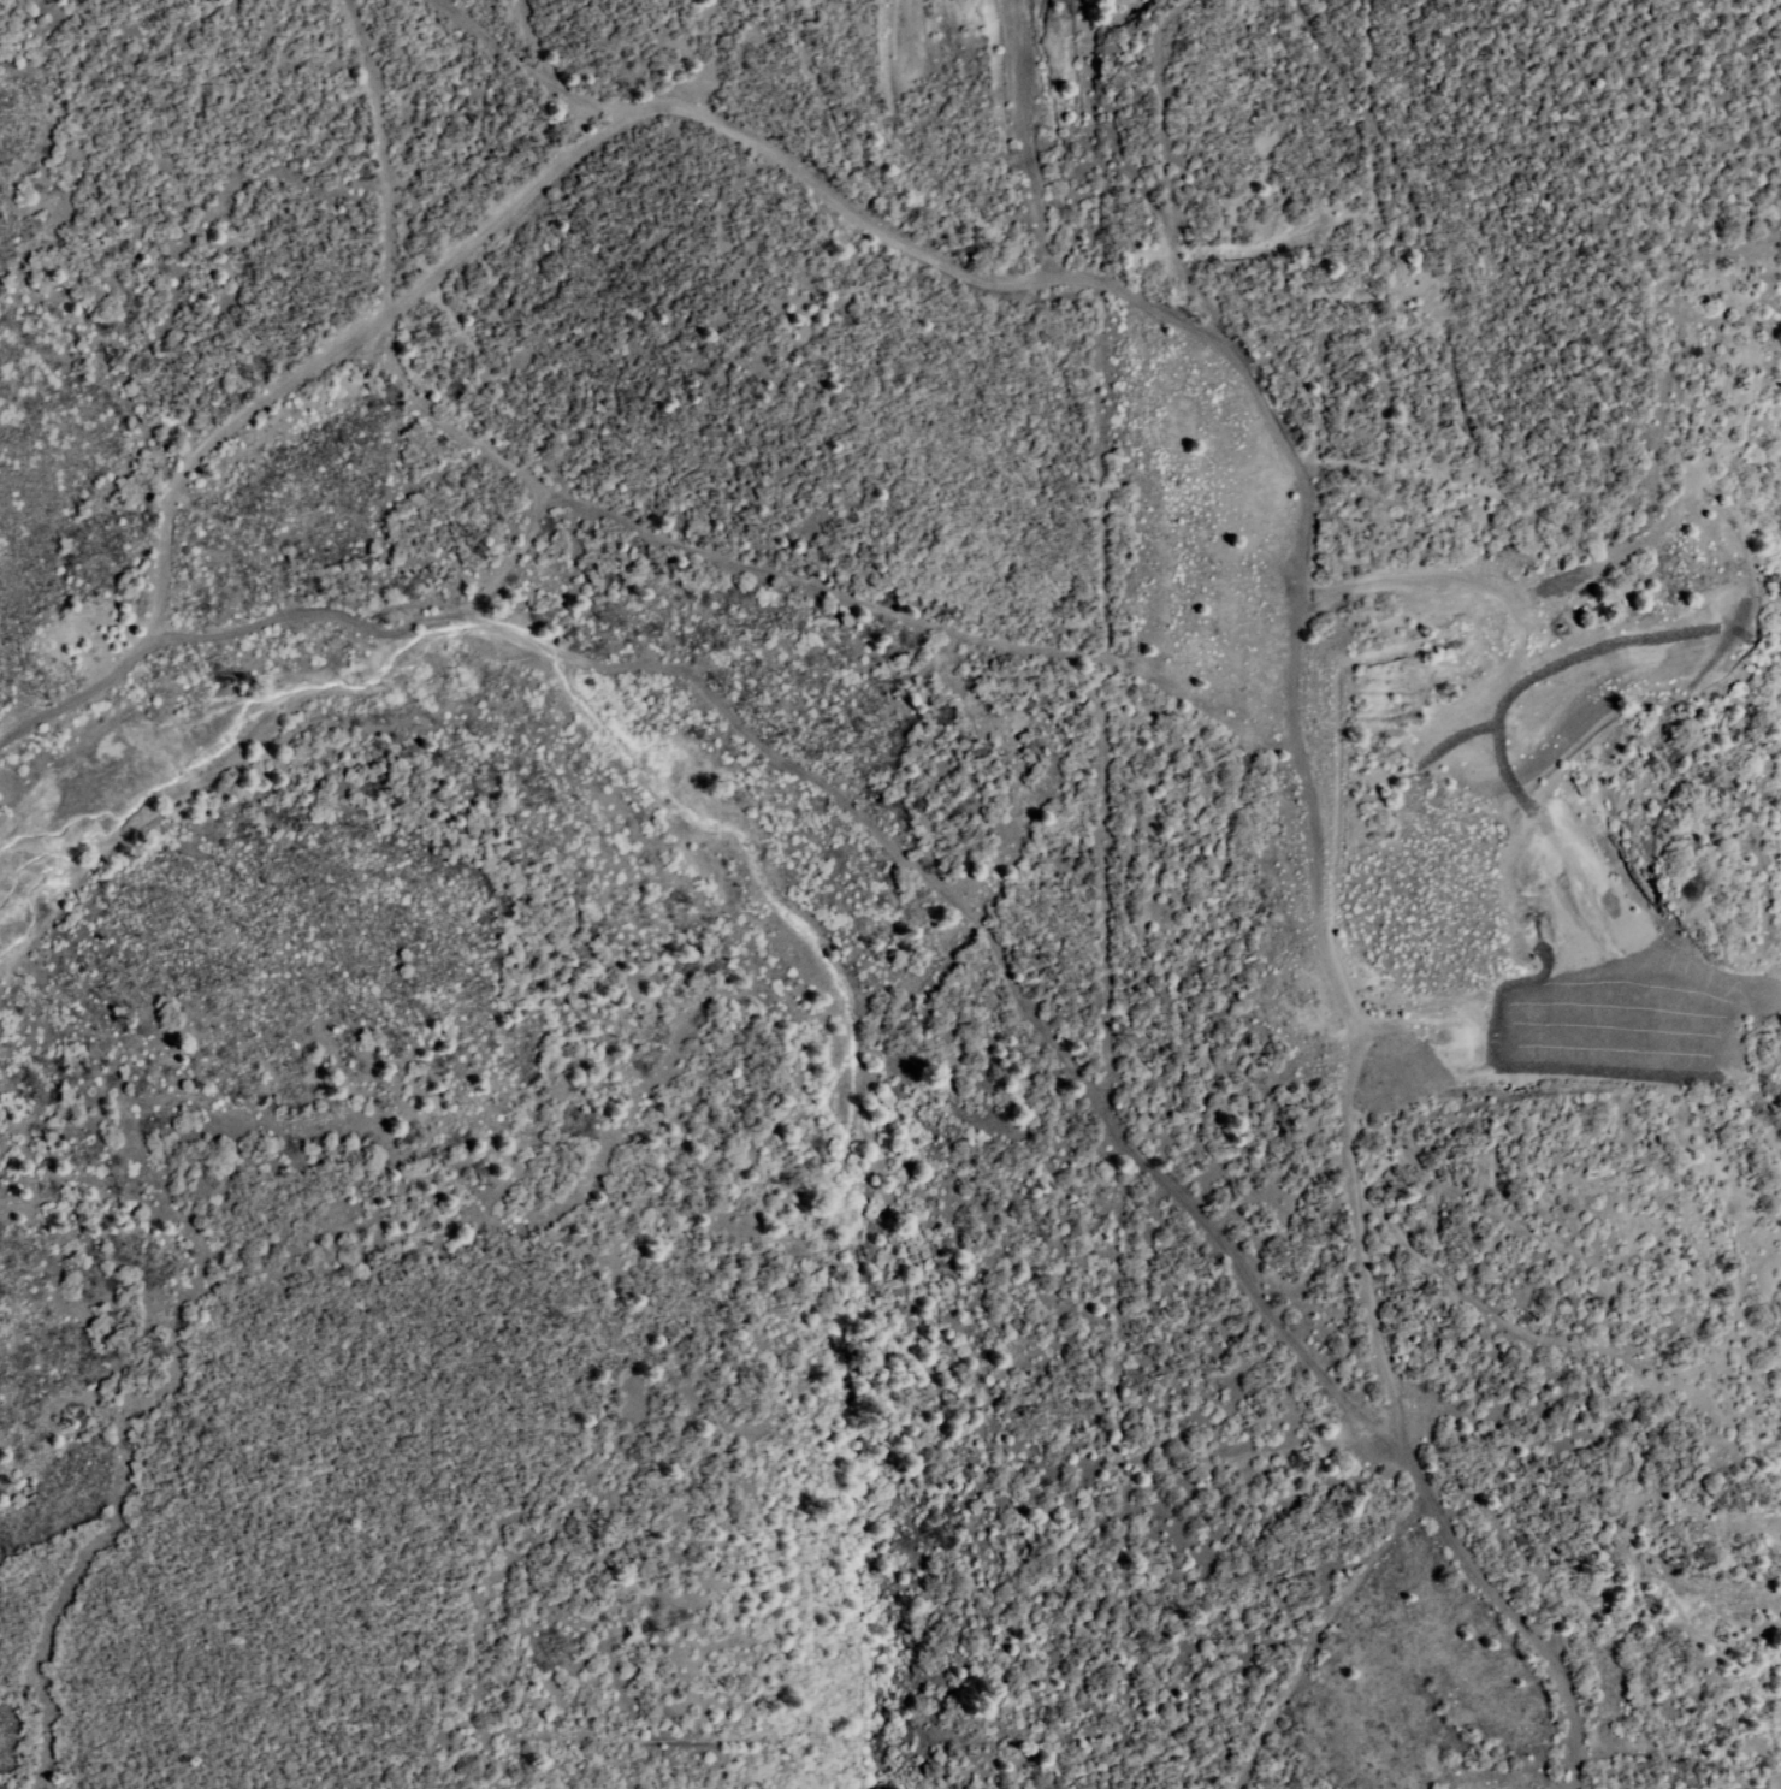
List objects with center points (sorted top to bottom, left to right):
road: (1520, 510)
road: (827, 790)
road: (1363, 1110)

